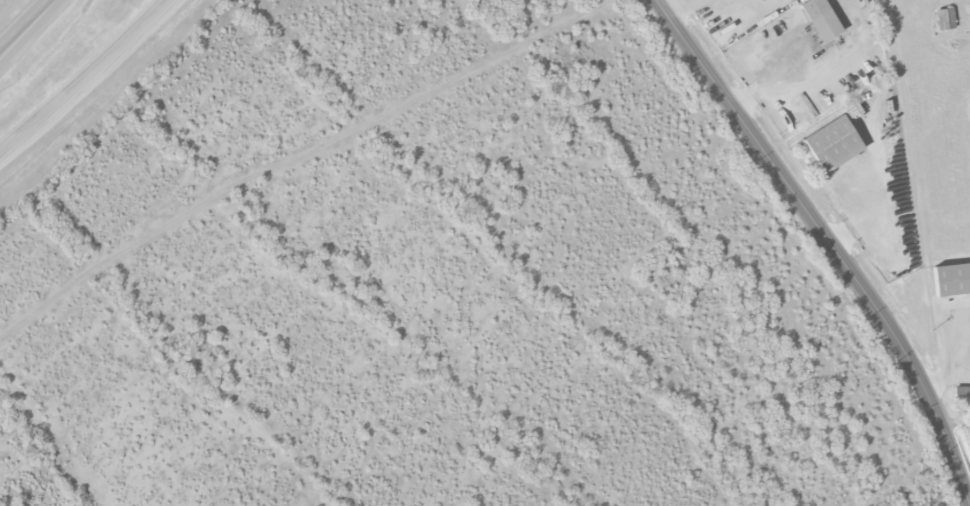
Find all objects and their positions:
road: (674, 7)
building: (945, 18)
building: (820, 19)
road: (24, 24)
road: (31, 33)
road: (793, 72)
road: (82, 76)
building: (832, 143)
road: (829, 241)
building: (952, 278)

